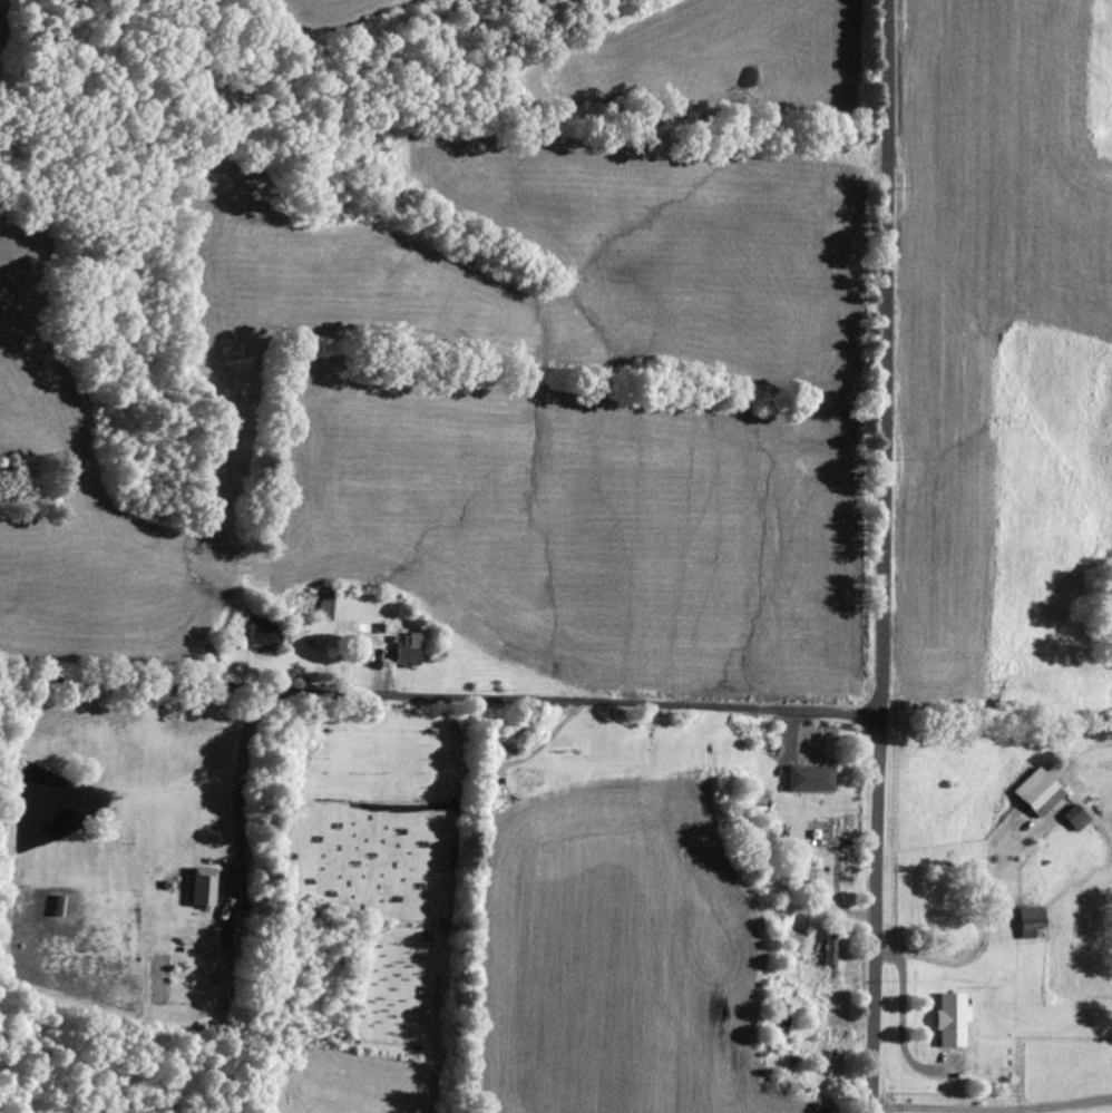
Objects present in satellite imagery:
road: (882, 357)
building: (404, 651)
road: (439, 694)
building: (809, 779)
building: (1037, 793)
building: (1074, 819)
road: (437, 865)
building: (201, 888)
road: (874, 912)
building: (1031, 924)
building: (950, 1021)

